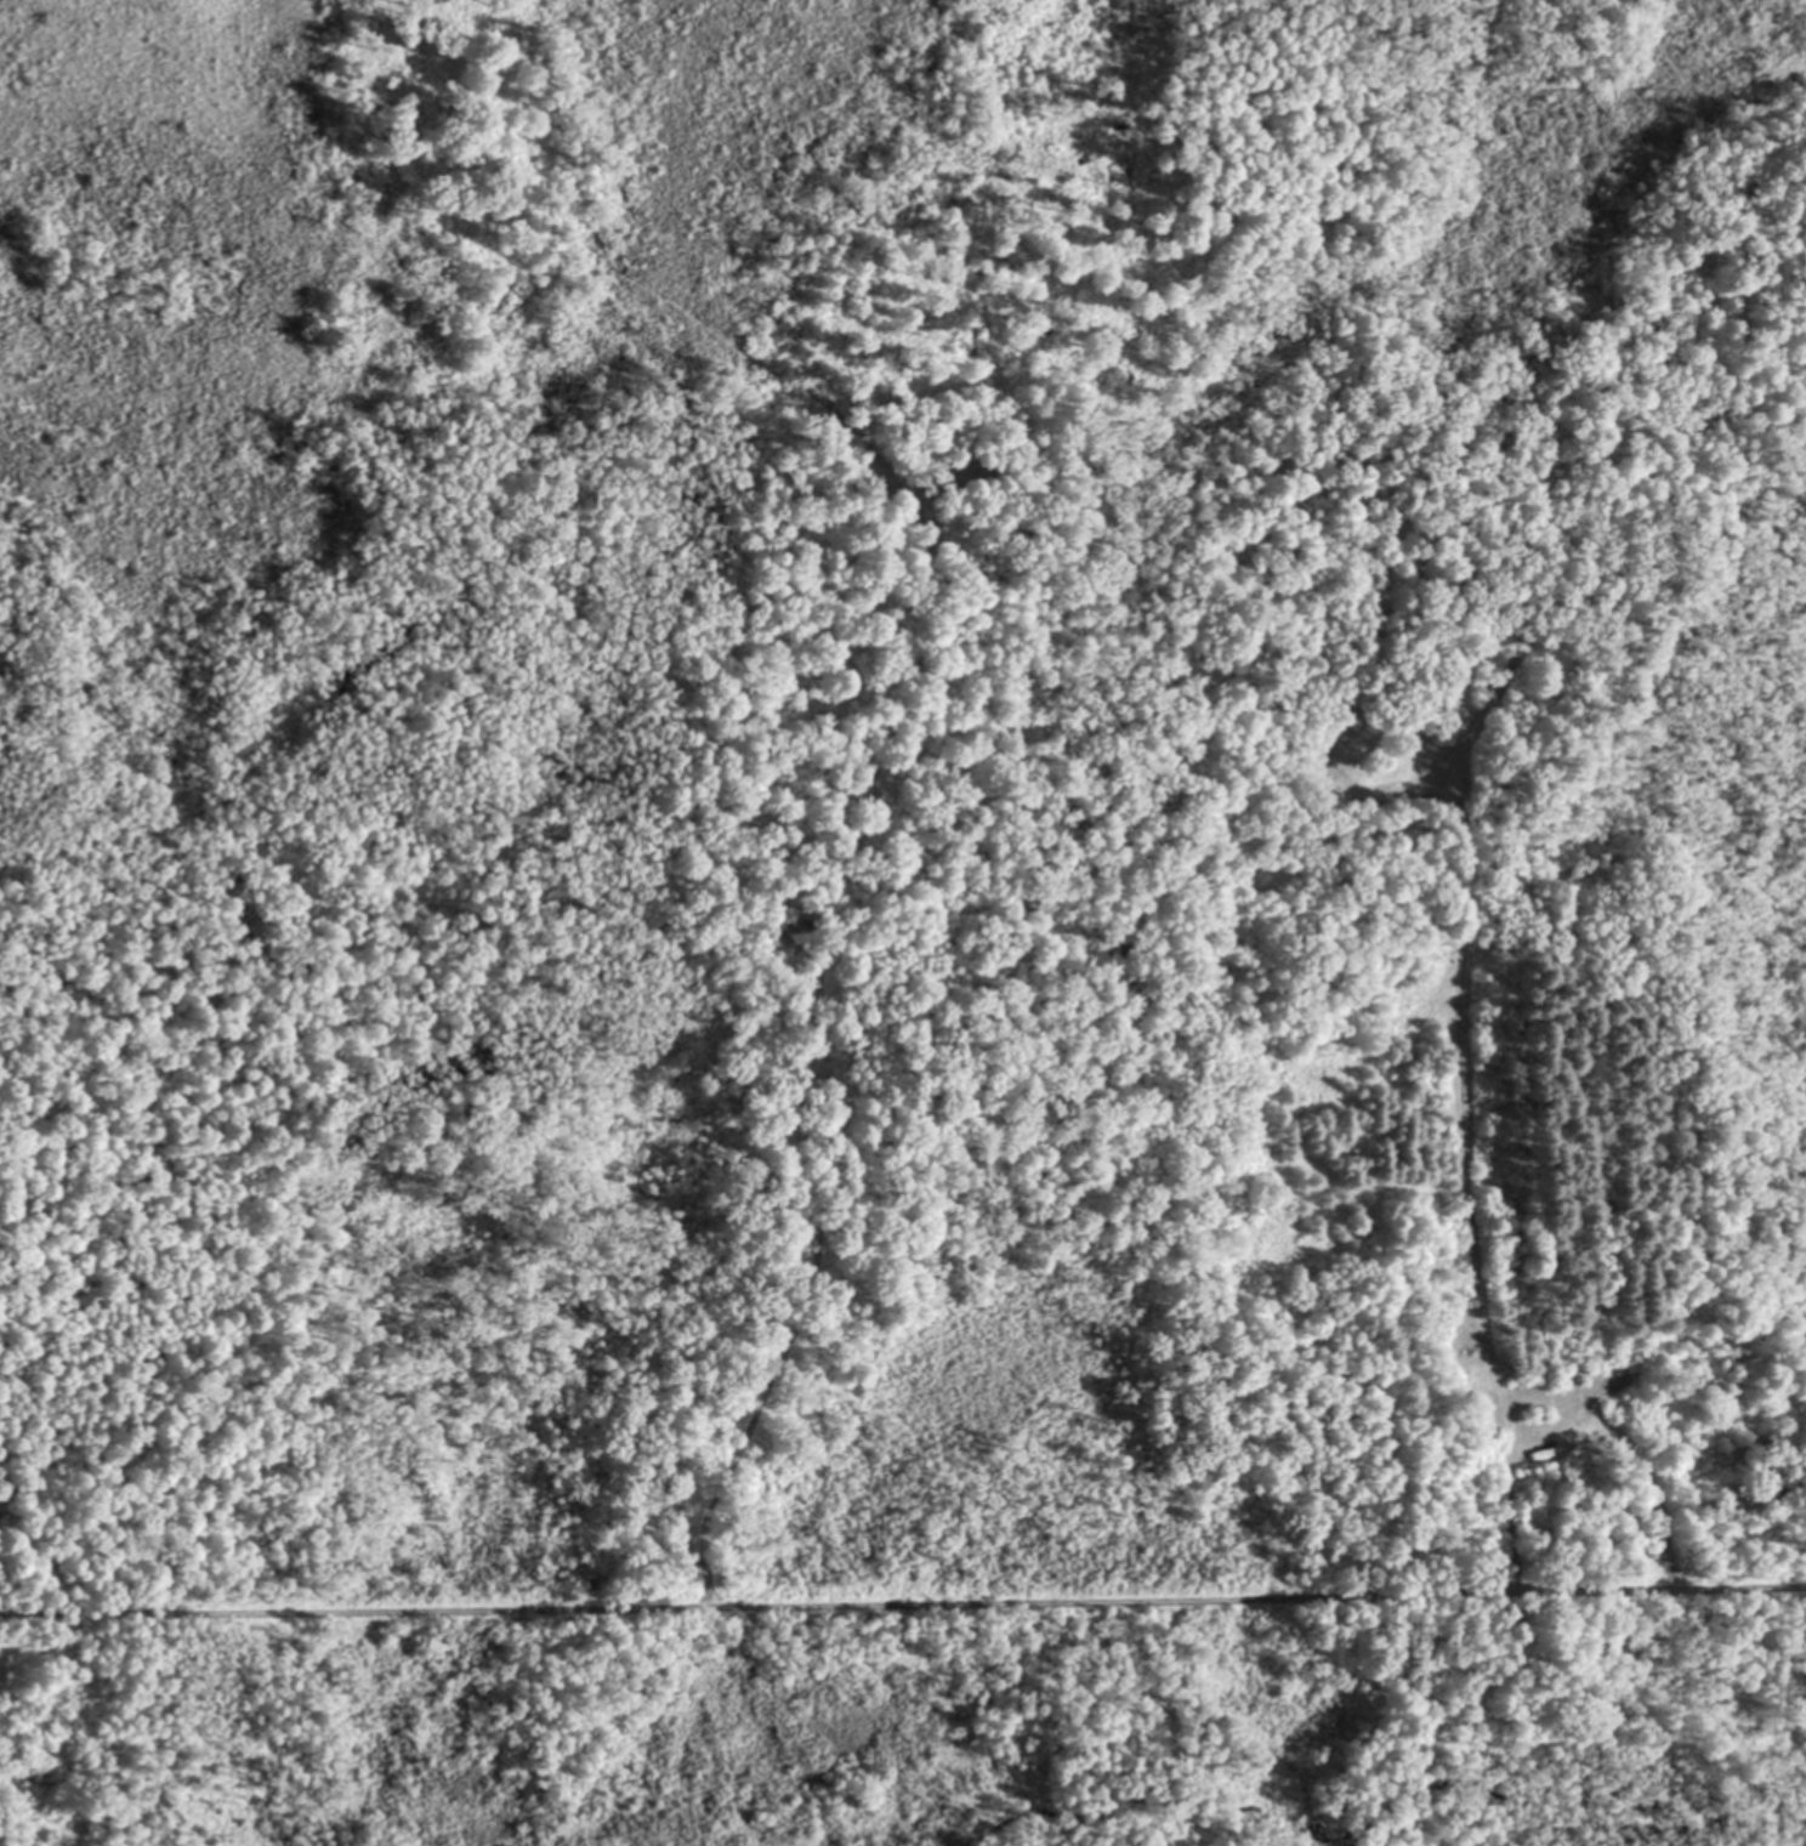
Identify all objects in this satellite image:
road: (903, 1598)

